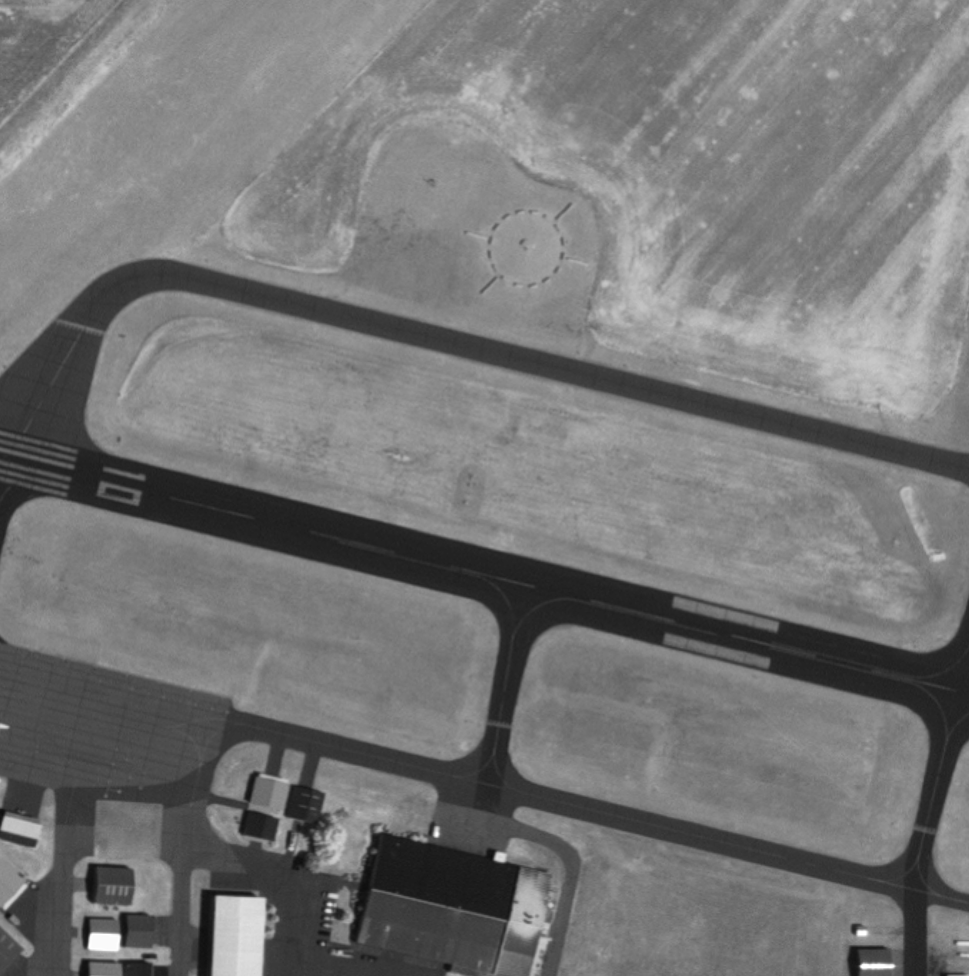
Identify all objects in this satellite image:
crop: (35, 36)
airport runway: (137, 142)
airport taxiway: (416, 327)
airport: (487, 490)
airport runway: (484, 572)
airport taxiway: (506, 683)
airport apron: (99, 723)
airport taxiway: (577, 805)
airport taxiway: (181, 878)
airport taxiway: (63, 880)
airport taxiway: (913, 902)
road: (282, 929)

